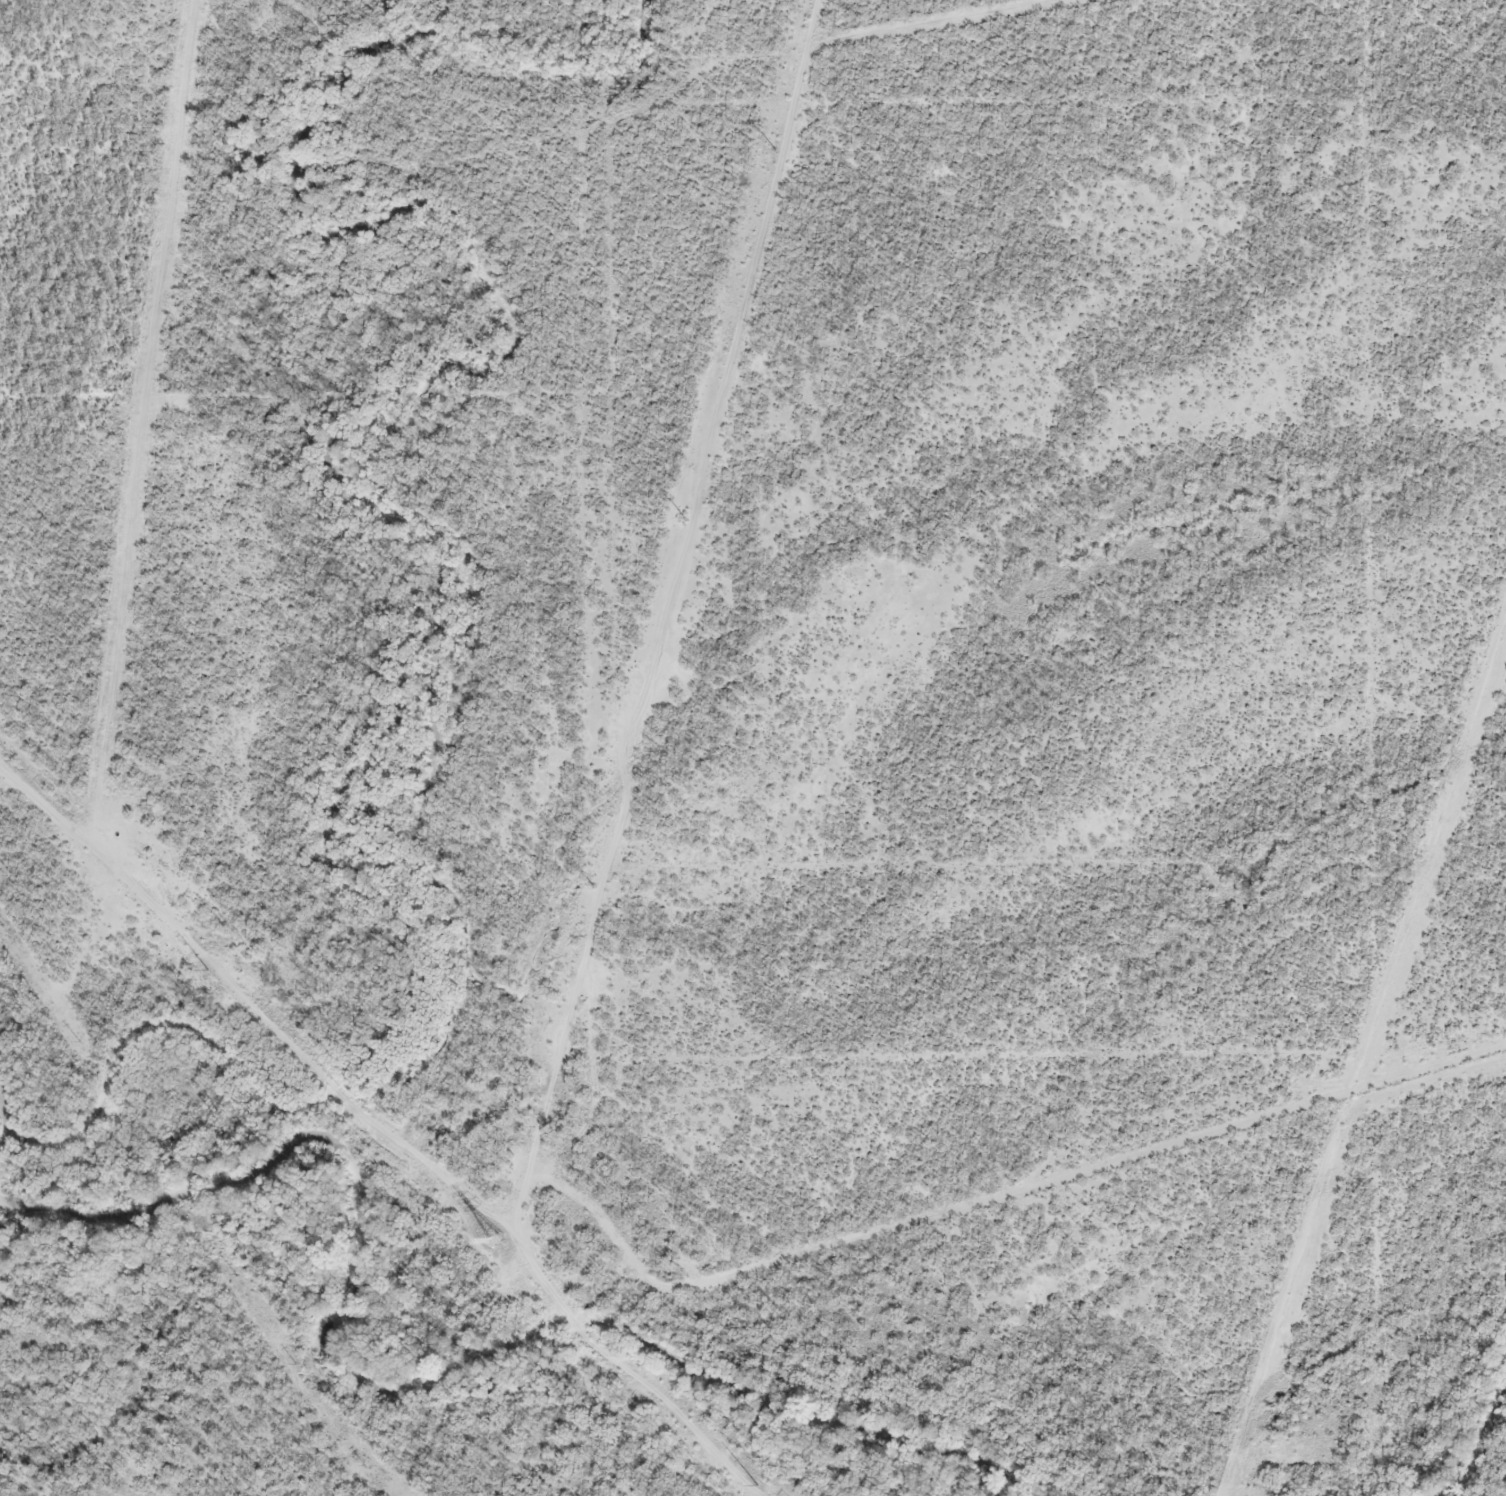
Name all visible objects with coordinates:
power tower: (774, 151)
power tower: (684, 519)
power tower: (591, 886)
power tower: (207, 970)
power tower: (496, 1241)
power tower: (755, 1487)

